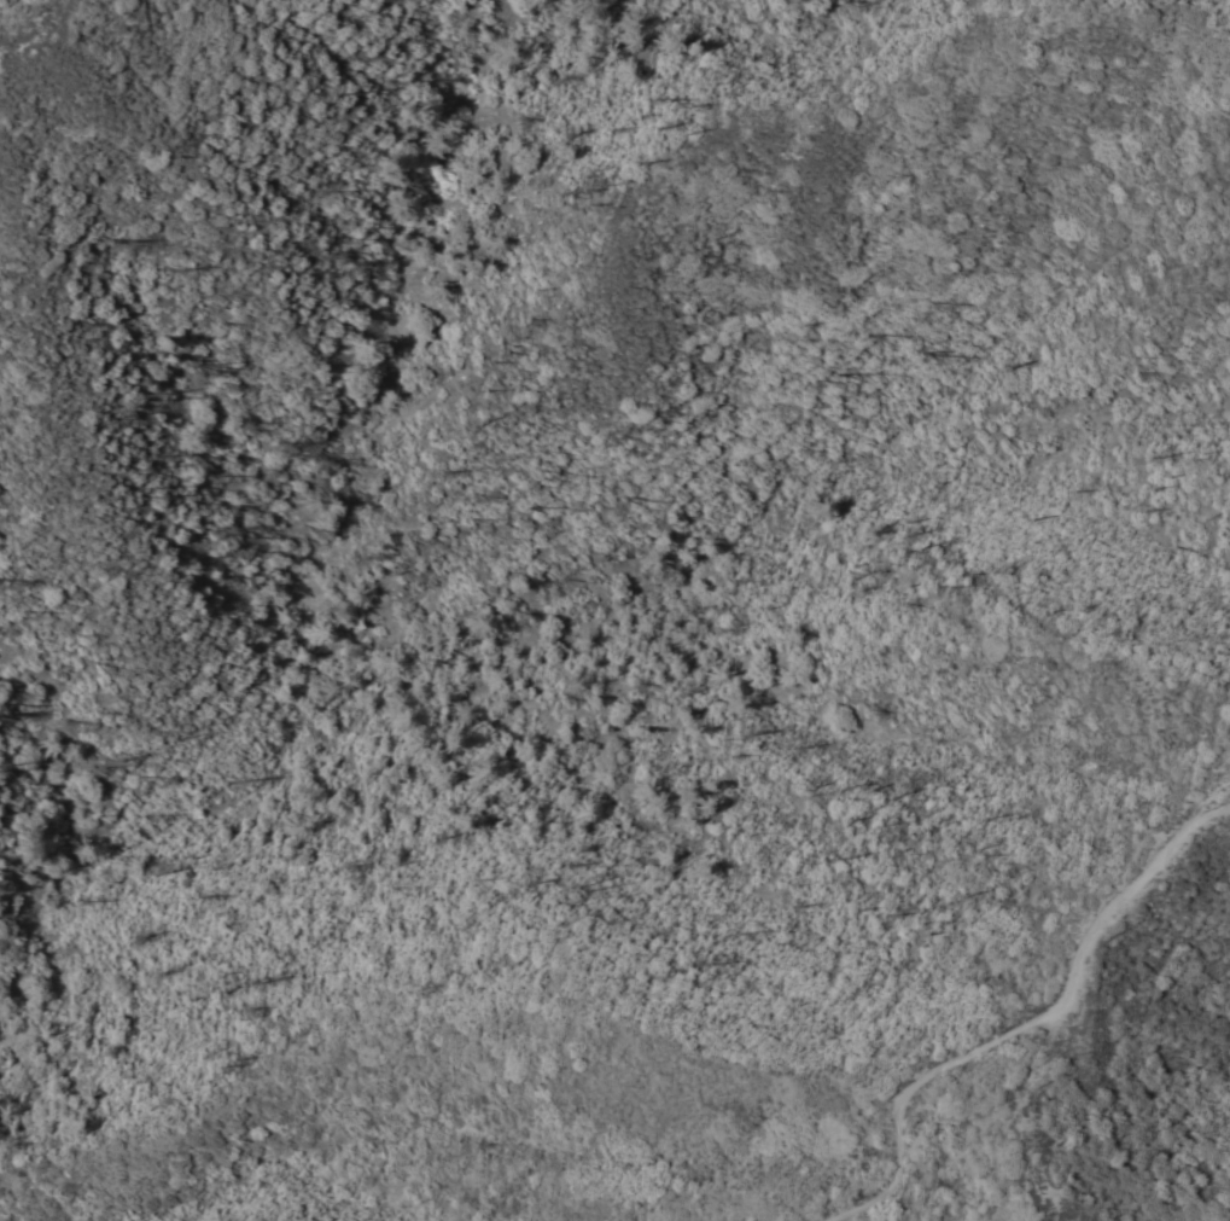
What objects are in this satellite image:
road: (1028, 1024)

